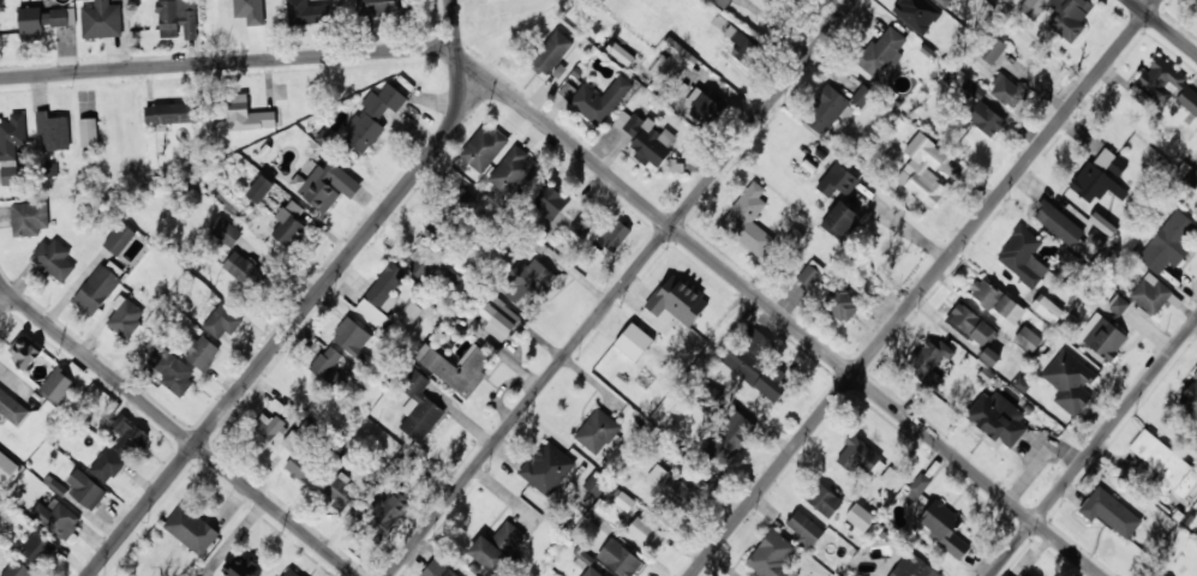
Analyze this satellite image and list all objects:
building: (379, 6)
building: (250, 11)
building: (305, 12)
building: (1060, 14)
building: (176, 18)
building: (101, 19)
building: (42, 20)
road: (1163, 26)
building: (742, 44)
building: (993, 49)
building: (551, 52)
building: (881, 52)
building: (620, 53)
road: (226, 60)
building: (670, 62)
building: (1162, 86)
building: (974, 88)
building: (567, 90)
building: (1006, 90)
building: (862, 95)
building: (599, 100)
building: (700, 104)
building: (827, 110)
building: (170, 113)
building: (246, 114)
building: (372, 116)
building: (986, 118)
building: (53, 131)
building: (88, 131)
building: (648, 139)
building: (12, 148)
building: (483, 148)
building: (923, 170)
building: (511, 172)
building: (1187, 173)
building: (1101, 176)
building: (837, 180)
building: (325, 185)
building: (261, 188)
building: (550, 202)
building: (29, 218)
building: (839, 220)
building: (748, 221)
building: (288, 222)
building: (1102, 223)
building: (1059, 224)
building: (581, 227)
building: (225, 230)
building: (615, 235)
building: (119, 238)
building: (1169, 241)
building: (1023, 256)
building: (54, 259)
building: (423, 262)
building: (241, 268)
building: (810, 272)
building: (529, 283)
road: (618, 287)
building: (97, 288)
road: (920, 288)
building: (984, 293)
building: (1150, 293)
building: (381, 296)
road: (759, 296)
building: (839, 301)
road: (6, 302)
building: (677, 302)
building: (1118, 304)
building: (1009, 308)
building: (1047, 308)
building: (125, 316)
building: (499, 318)
building: (221, 322)
building: (969, 323)
road: (289, 326)
building: (1028, 338)
building: (1105, 338)
building: (353, 340)
building: (634, 341)
building: (756, 341)
building: (24, 350)
building: (201, 352)
building: (989, 355)
building: (928, 361)
building: (330, 366)
building: (455, 366)
building: (168, 371)
building: (754, 371)
building: (1070, 380)
building: (59, 383)
building: (1190, 396)
building: (418, 407)
building: (12, 408)
building: (996, 419)
road: (173, 426)
building: (265, 430)
building: (597, 430)
building: (128, 436)
building: (730, 437)
building: (292, 442)
road: (1091, 446)
building: (860, 456)
building: (1163, 461)
building: (107, 466)
building: (300, 467)
building: (6, 468)
building: (547, 468)
building: (890, 478)
building: (672, 486)
building: (916, 488)
building: (85, 490)
building: (824, 499)
building: (1106, 510)
building: (381, 515)
building: (860, 516)
building: (56, 517)
building: (944, 528)
building: (191, 529)
building: (804, 529)
building: (645, 533)
building: (497, 546)
building: (38, 547)
building: (771, 556)
building: (620, 558)
building: (912, 566)
building: (243, 568)
building: (437, 569)
building: (18, 570)
building: (292, 572)
building: (591, 572)
building: (1028, 574)
building: (1163, 575)

